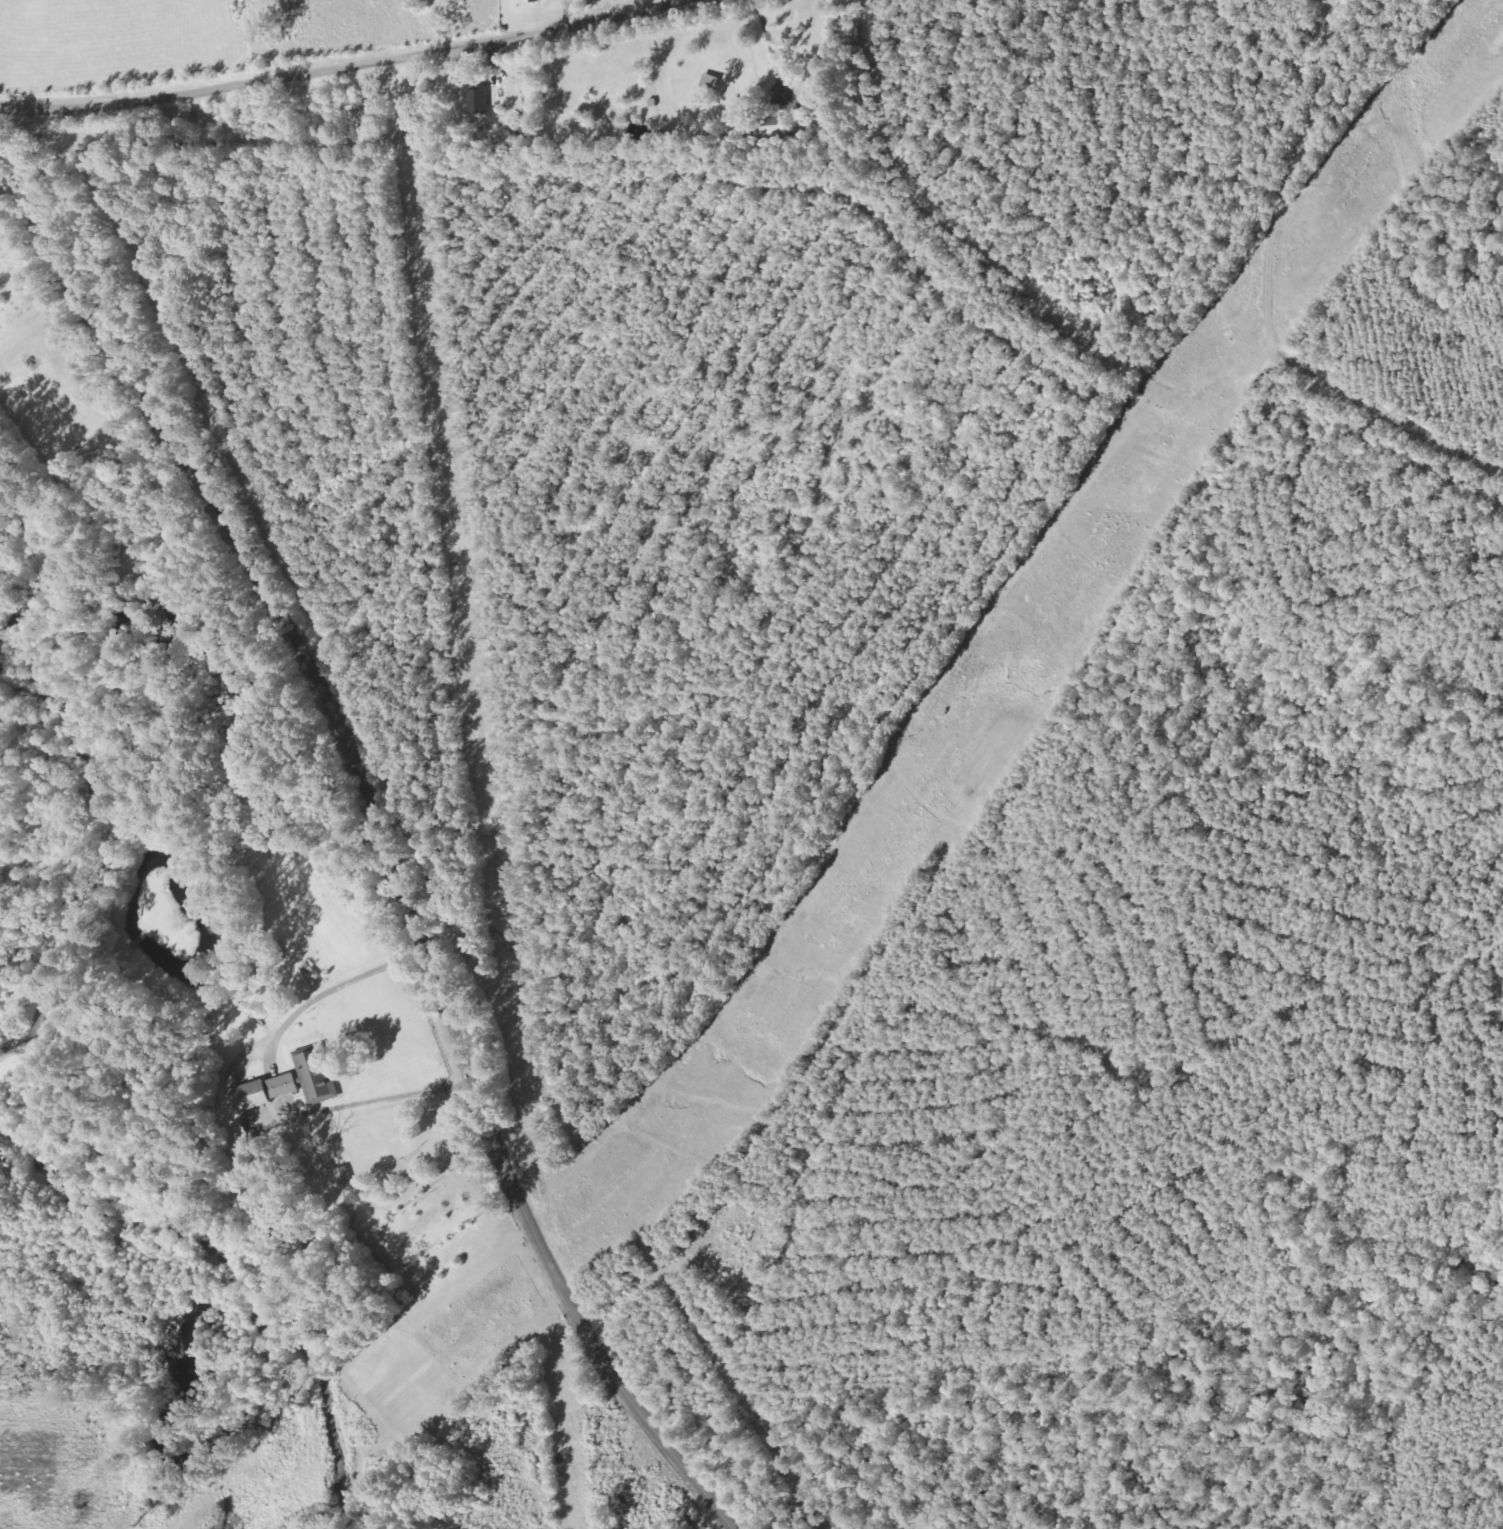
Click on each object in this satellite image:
road: (385, 54)
building: (465, 106)
road: (340, 833)
building: (316, 1078)
building: (261, 1091)

